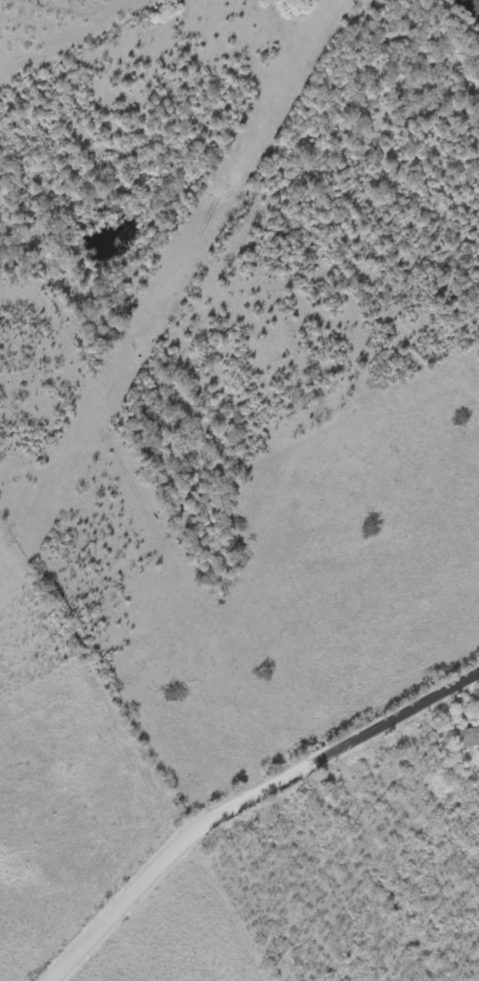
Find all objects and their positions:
building: (468, 739)
road: (247, 802)

